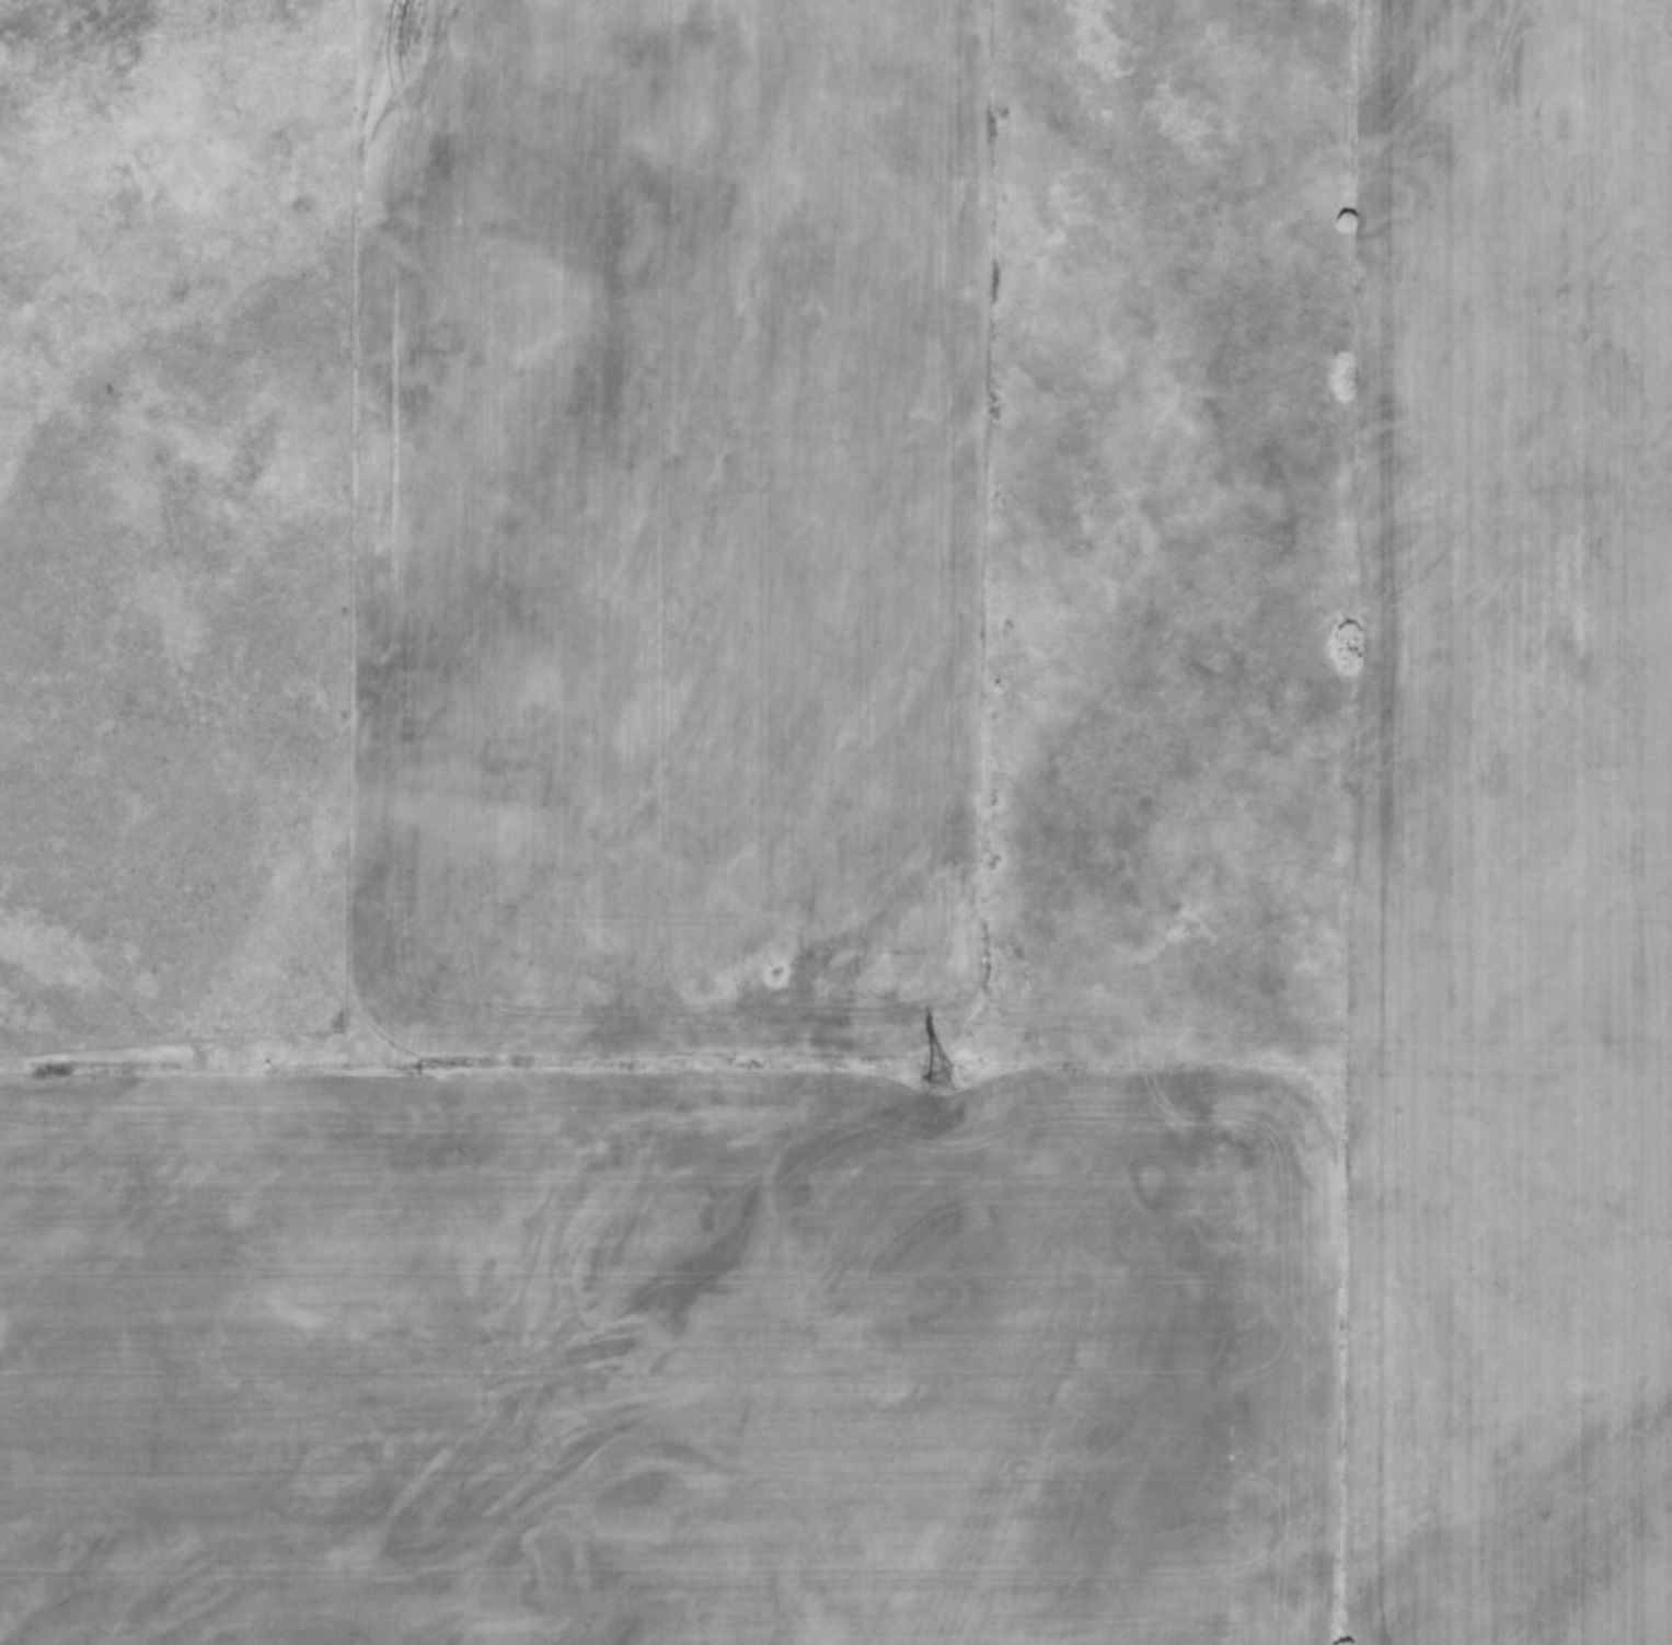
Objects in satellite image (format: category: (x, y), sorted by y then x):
power tower: (948, 1071)

